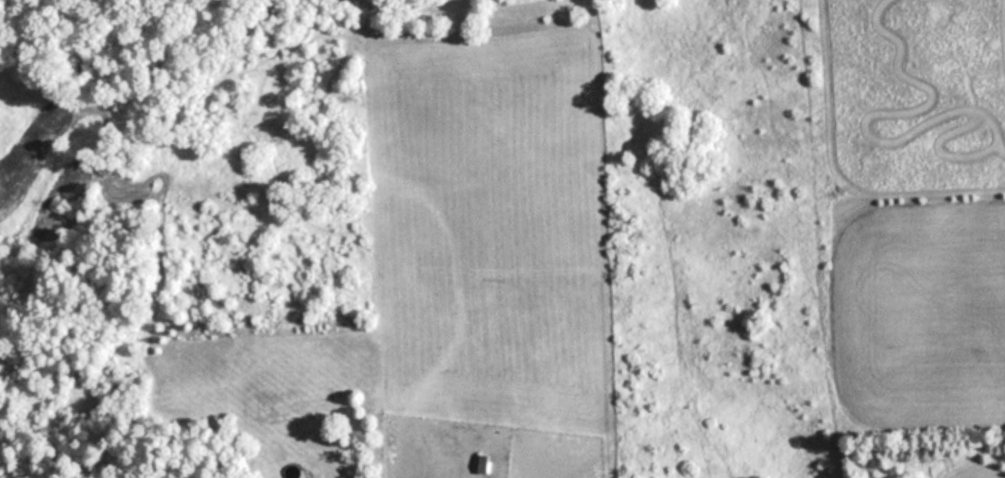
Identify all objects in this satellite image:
building: (483, 464)

